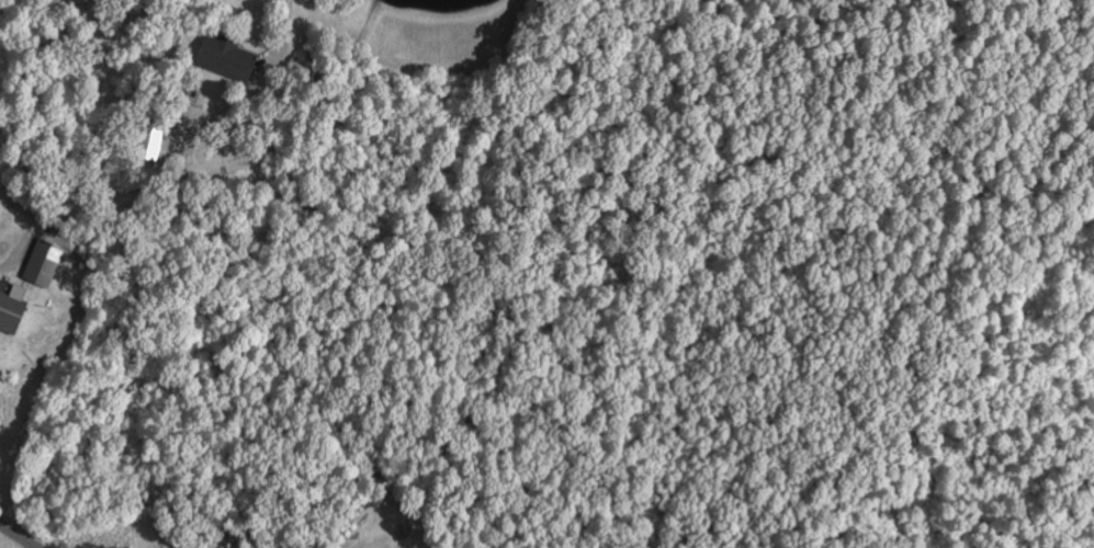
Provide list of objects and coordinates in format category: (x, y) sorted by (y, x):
road: (278, 30)
building: (228, 57)
building: (154, 141)
road: (518, 161)
road: (13, 255)
building: (45, 263)
building: (13, 308)
road: (18, 535)

